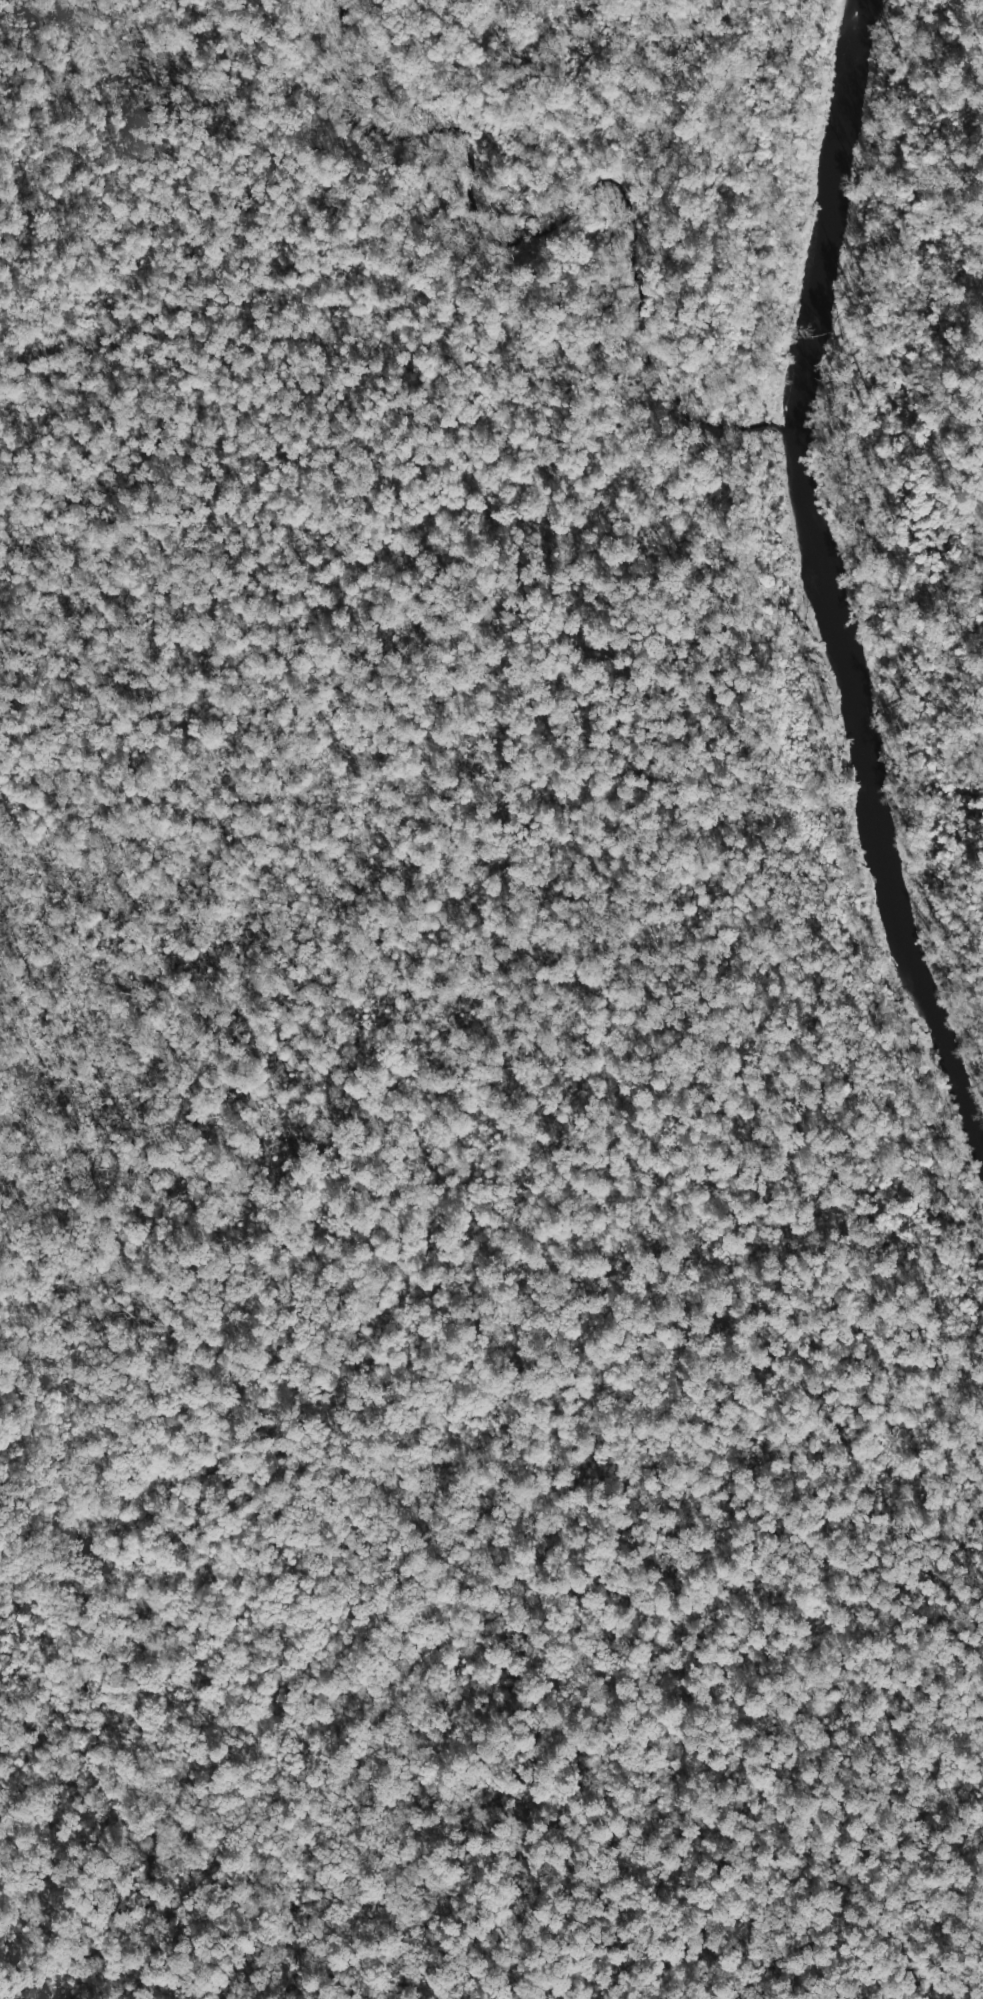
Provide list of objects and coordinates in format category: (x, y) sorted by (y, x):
river: (831, 579)

